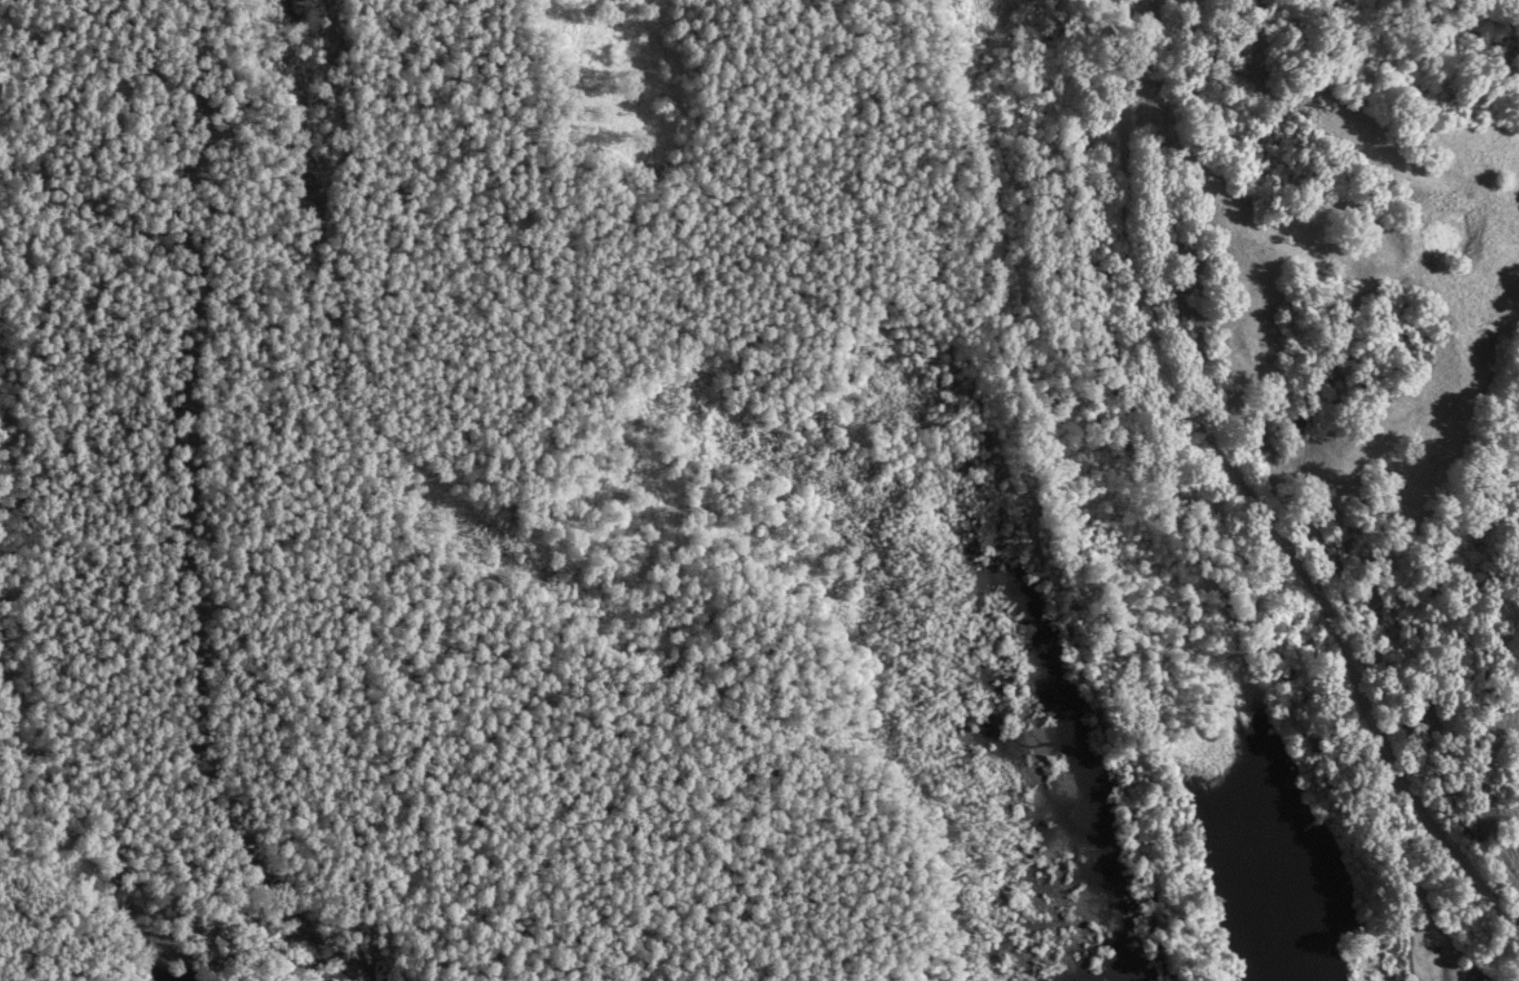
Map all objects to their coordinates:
road: (1244, 489)

